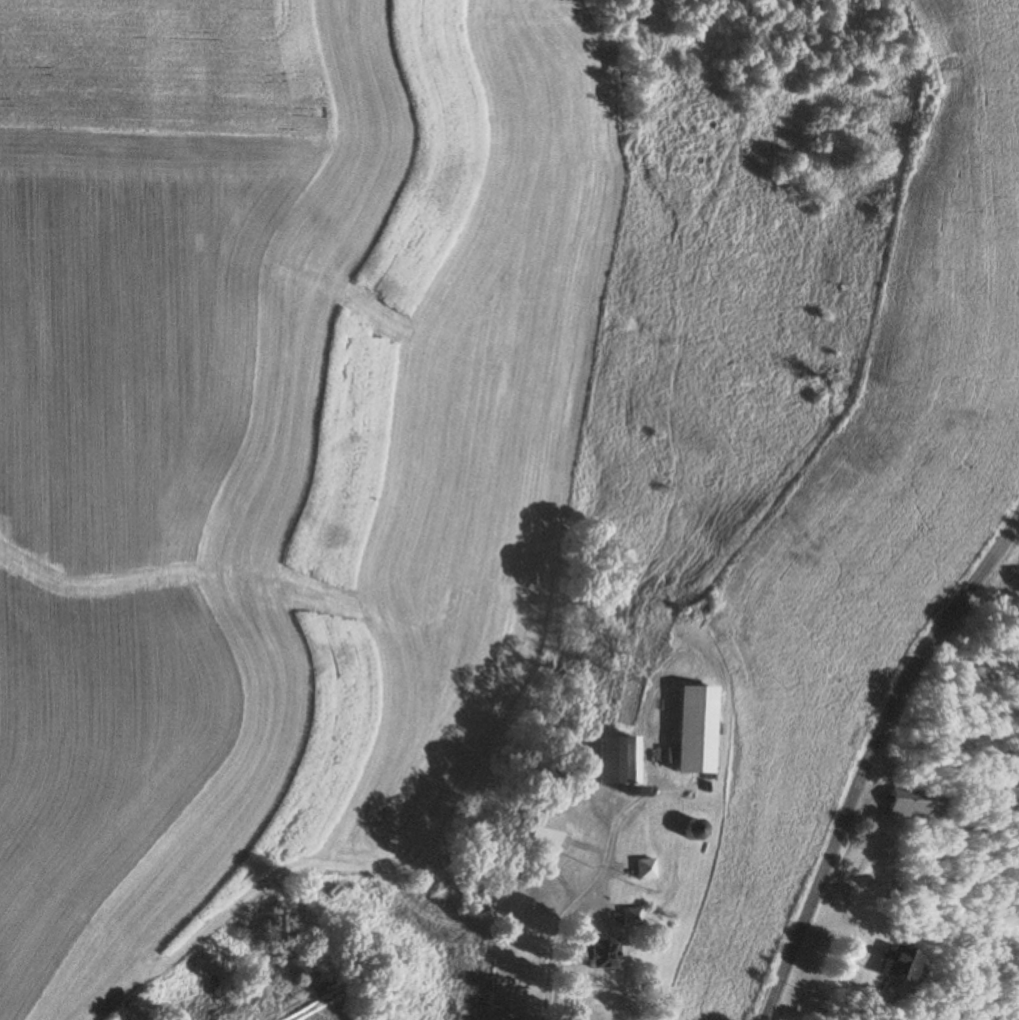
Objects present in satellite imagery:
road: (695, 662)
building: (692, 730)
road: (869, 757)
building: (616, 762)
building: (908, 805)
building: (540, 830)
building: (695, 832)
road: (608, 851)
building: (645, 870)
building: (633, 918)
building: (599, 953)
building: (891, 964)
road: (841, 971)

